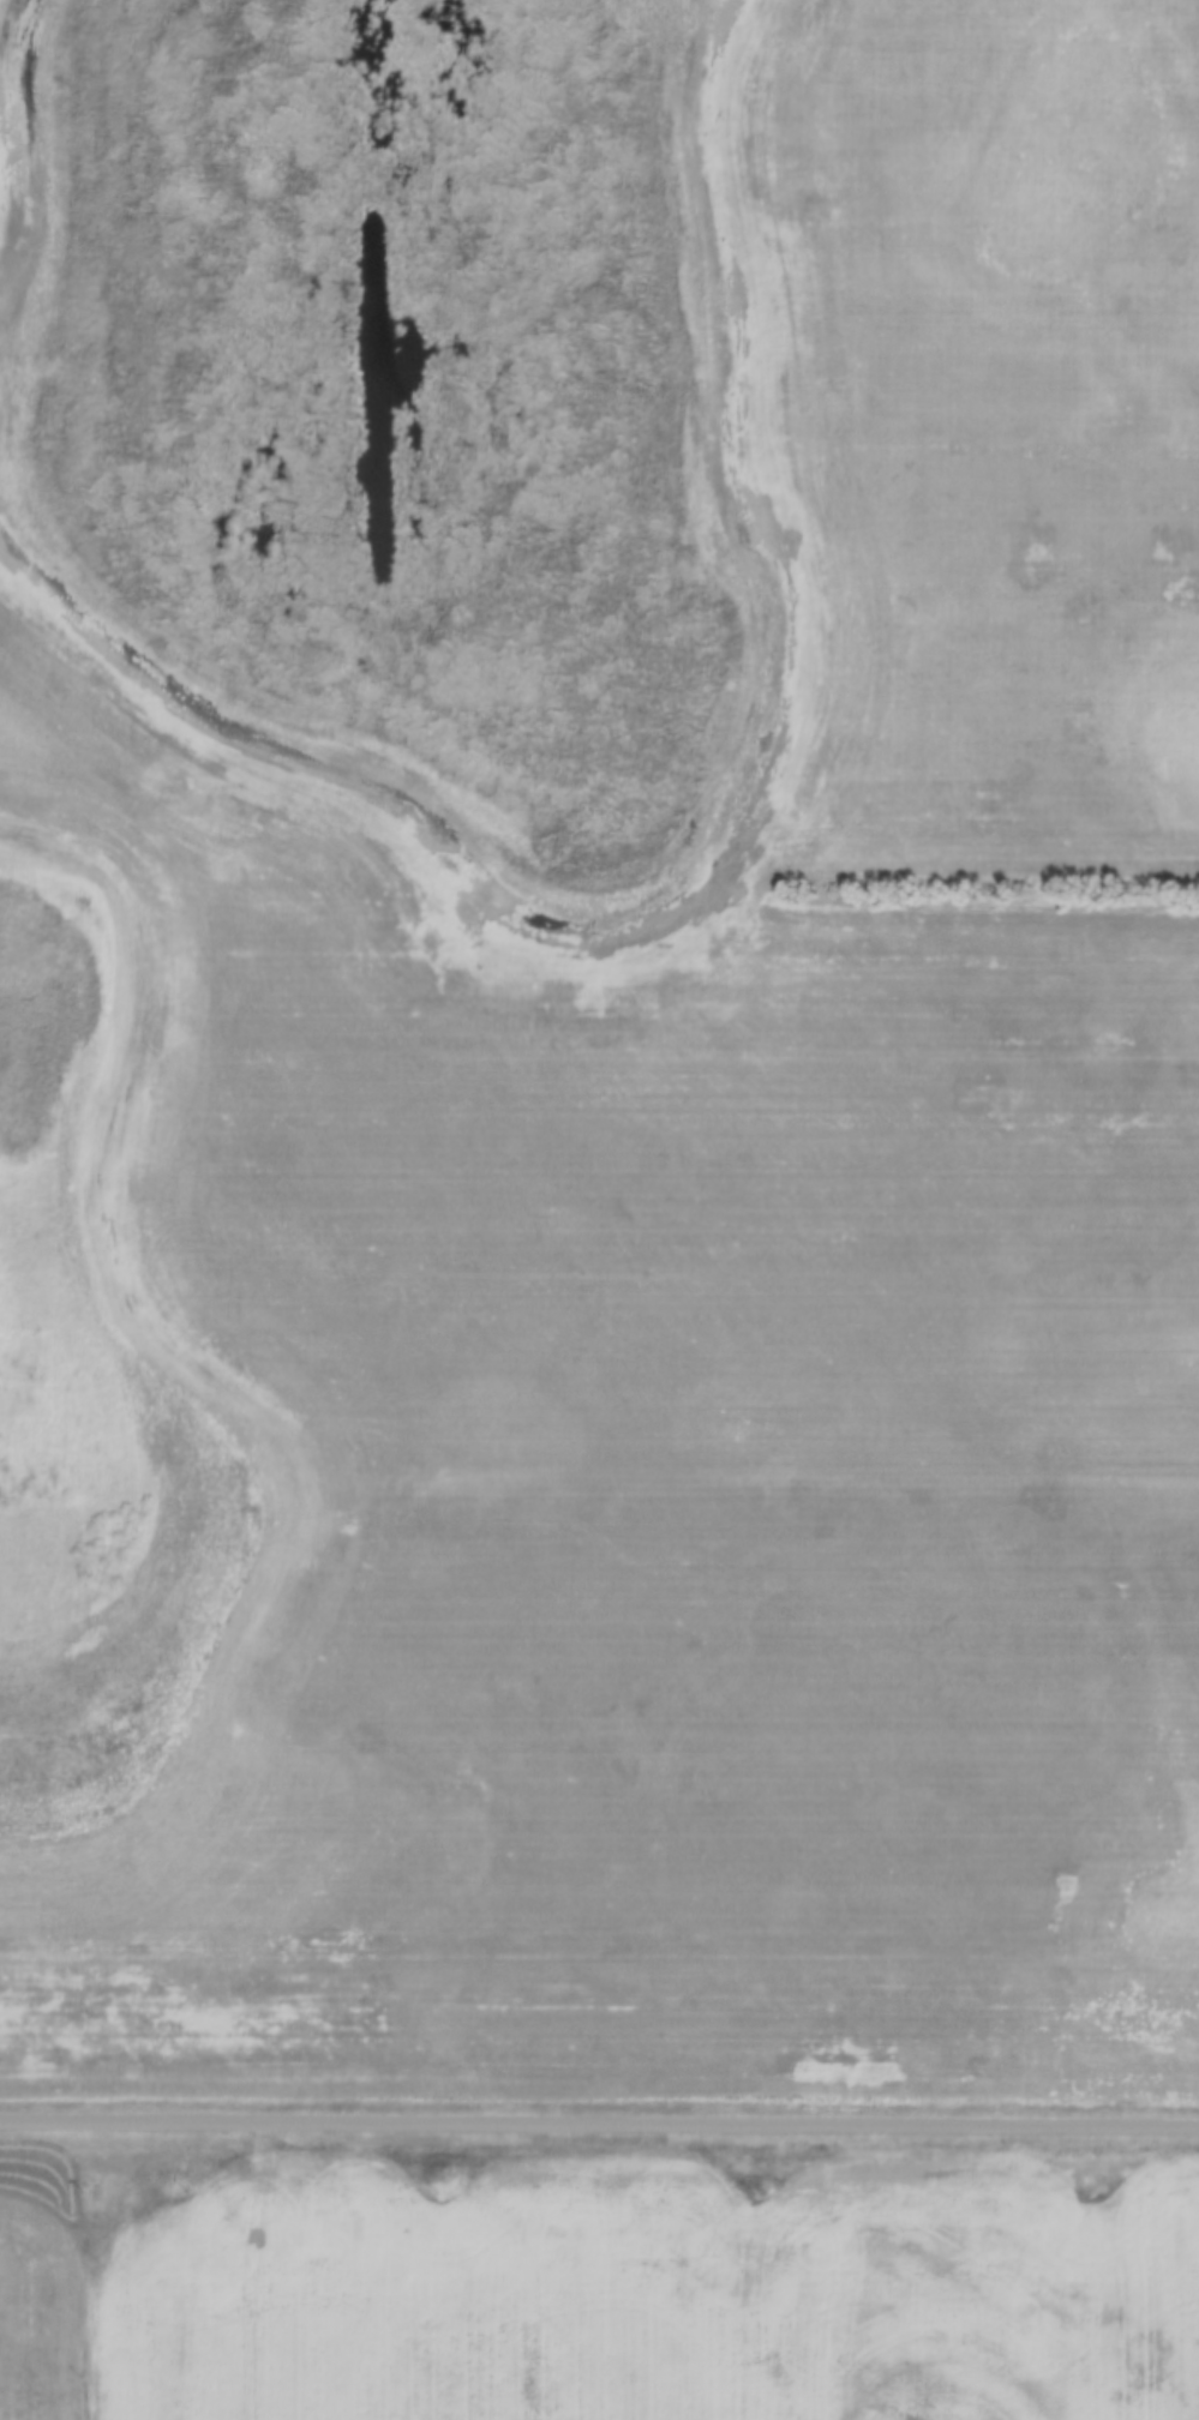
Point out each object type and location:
road: (599, 2126)
road: (104, 2253)

